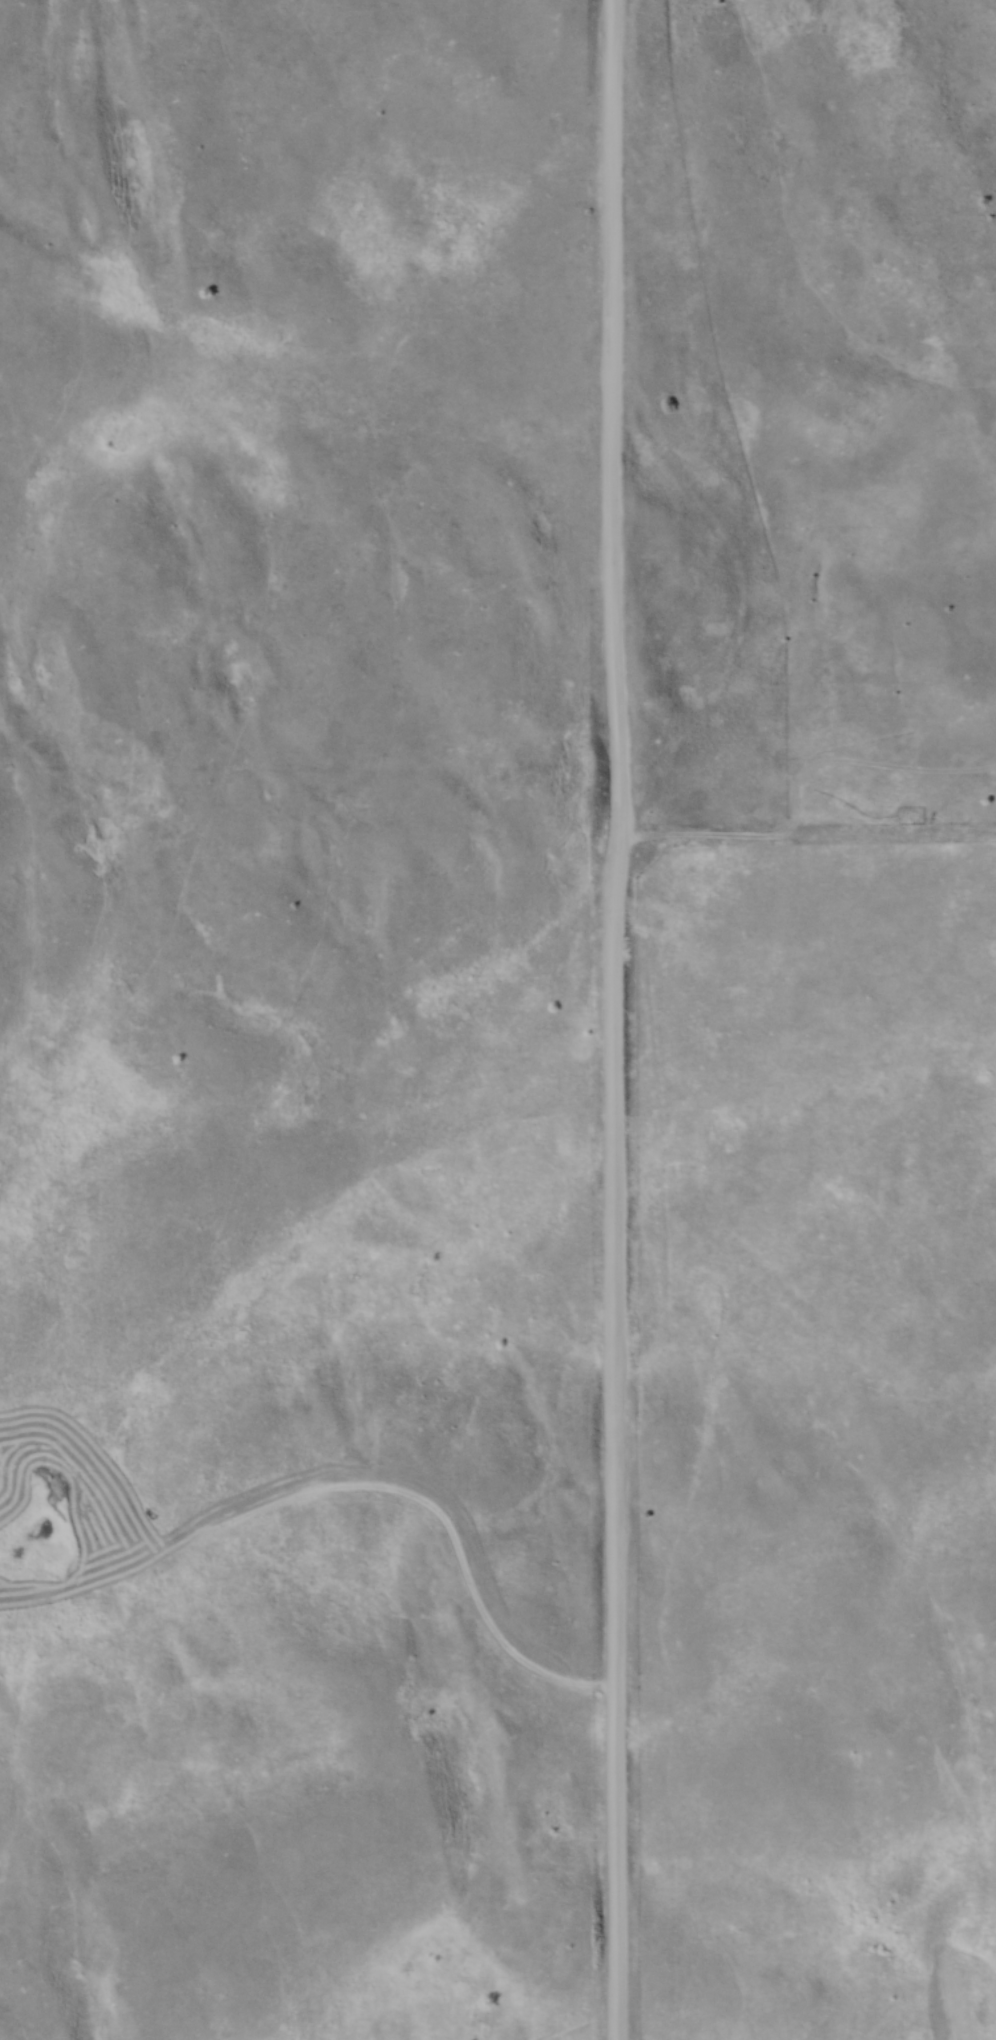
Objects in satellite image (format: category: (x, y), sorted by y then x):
road: (613, 1019)

